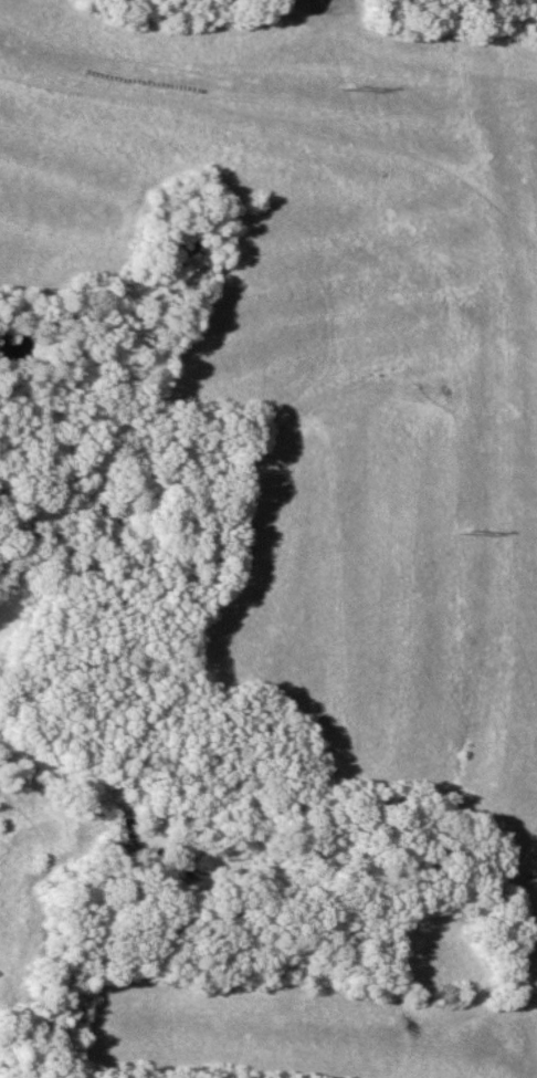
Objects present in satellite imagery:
power tower: (359, 86)
power tower: (481, 536)

